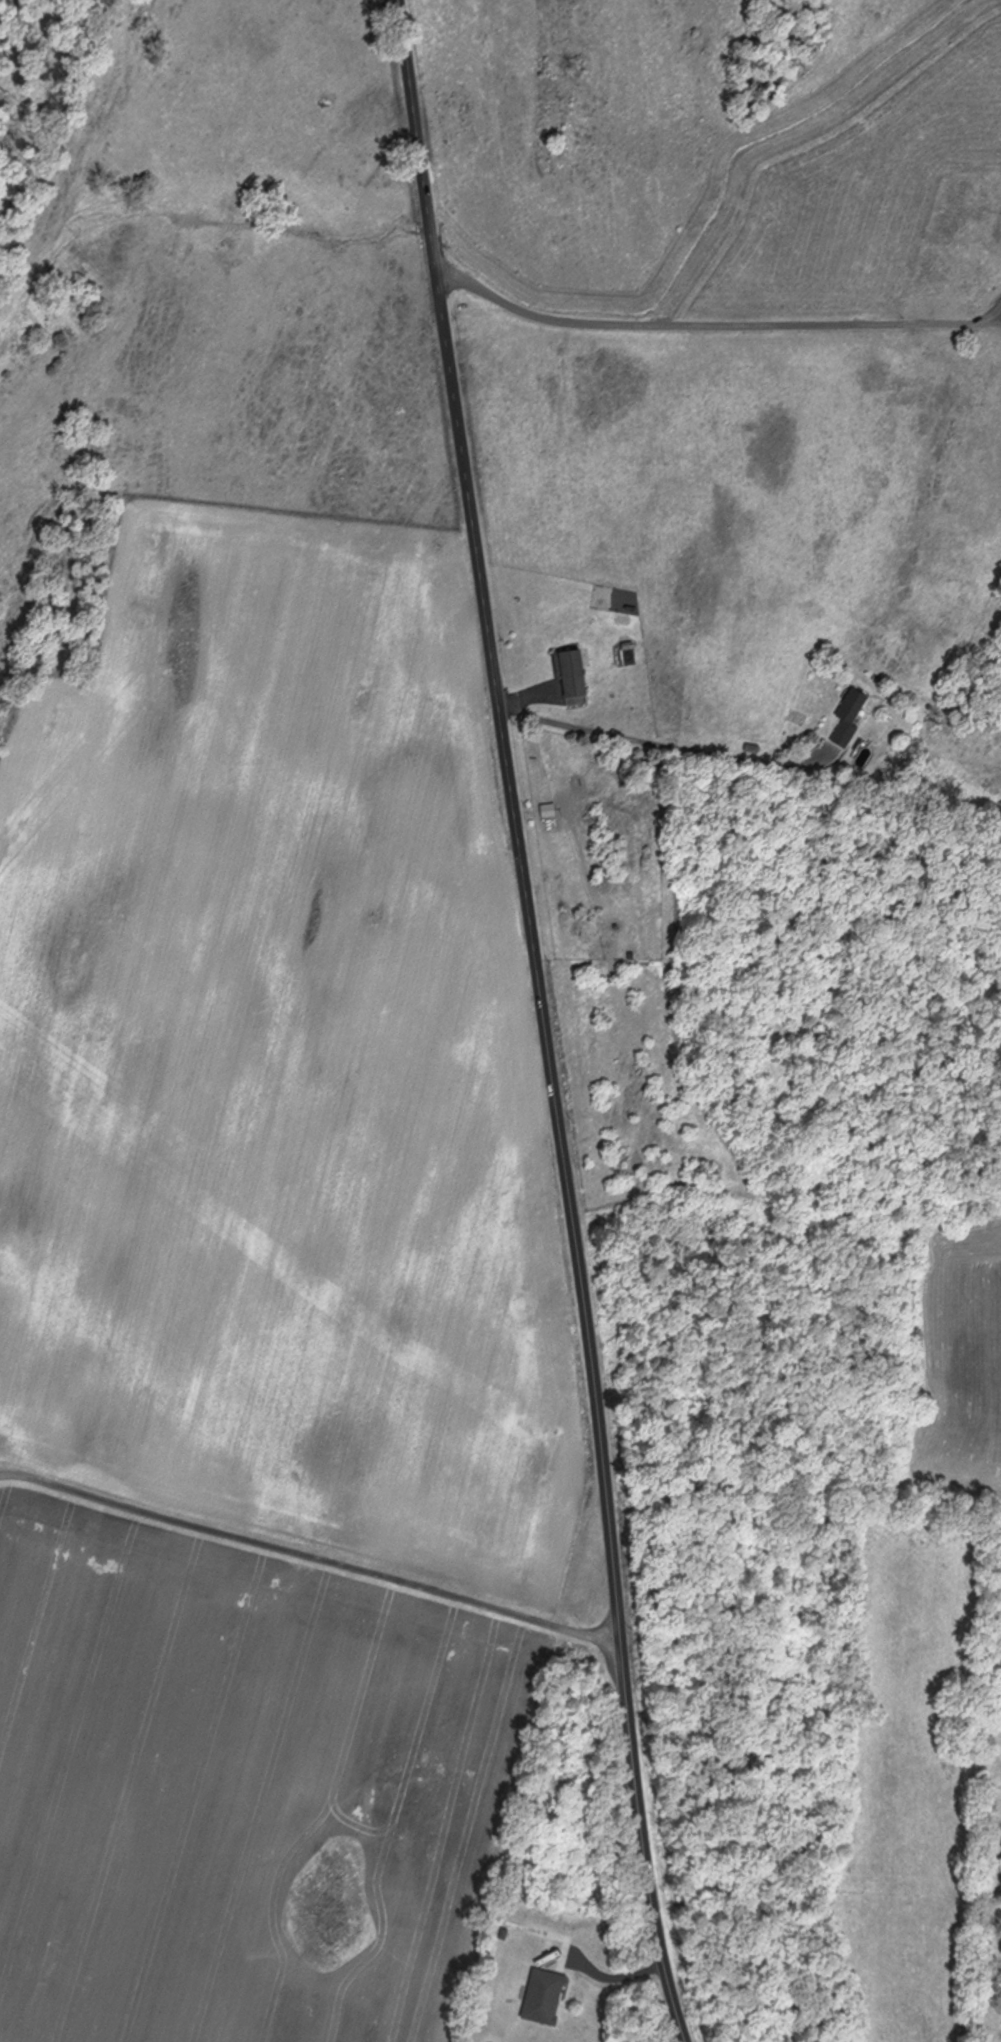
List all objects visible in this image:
road: (704, 322)
building: (564, 673)
building: (842, 719)
road: (663, 746)
road: (537, 1021)
road: (306, 1556)
road: (602, 1977)
building: (535, 1996)

